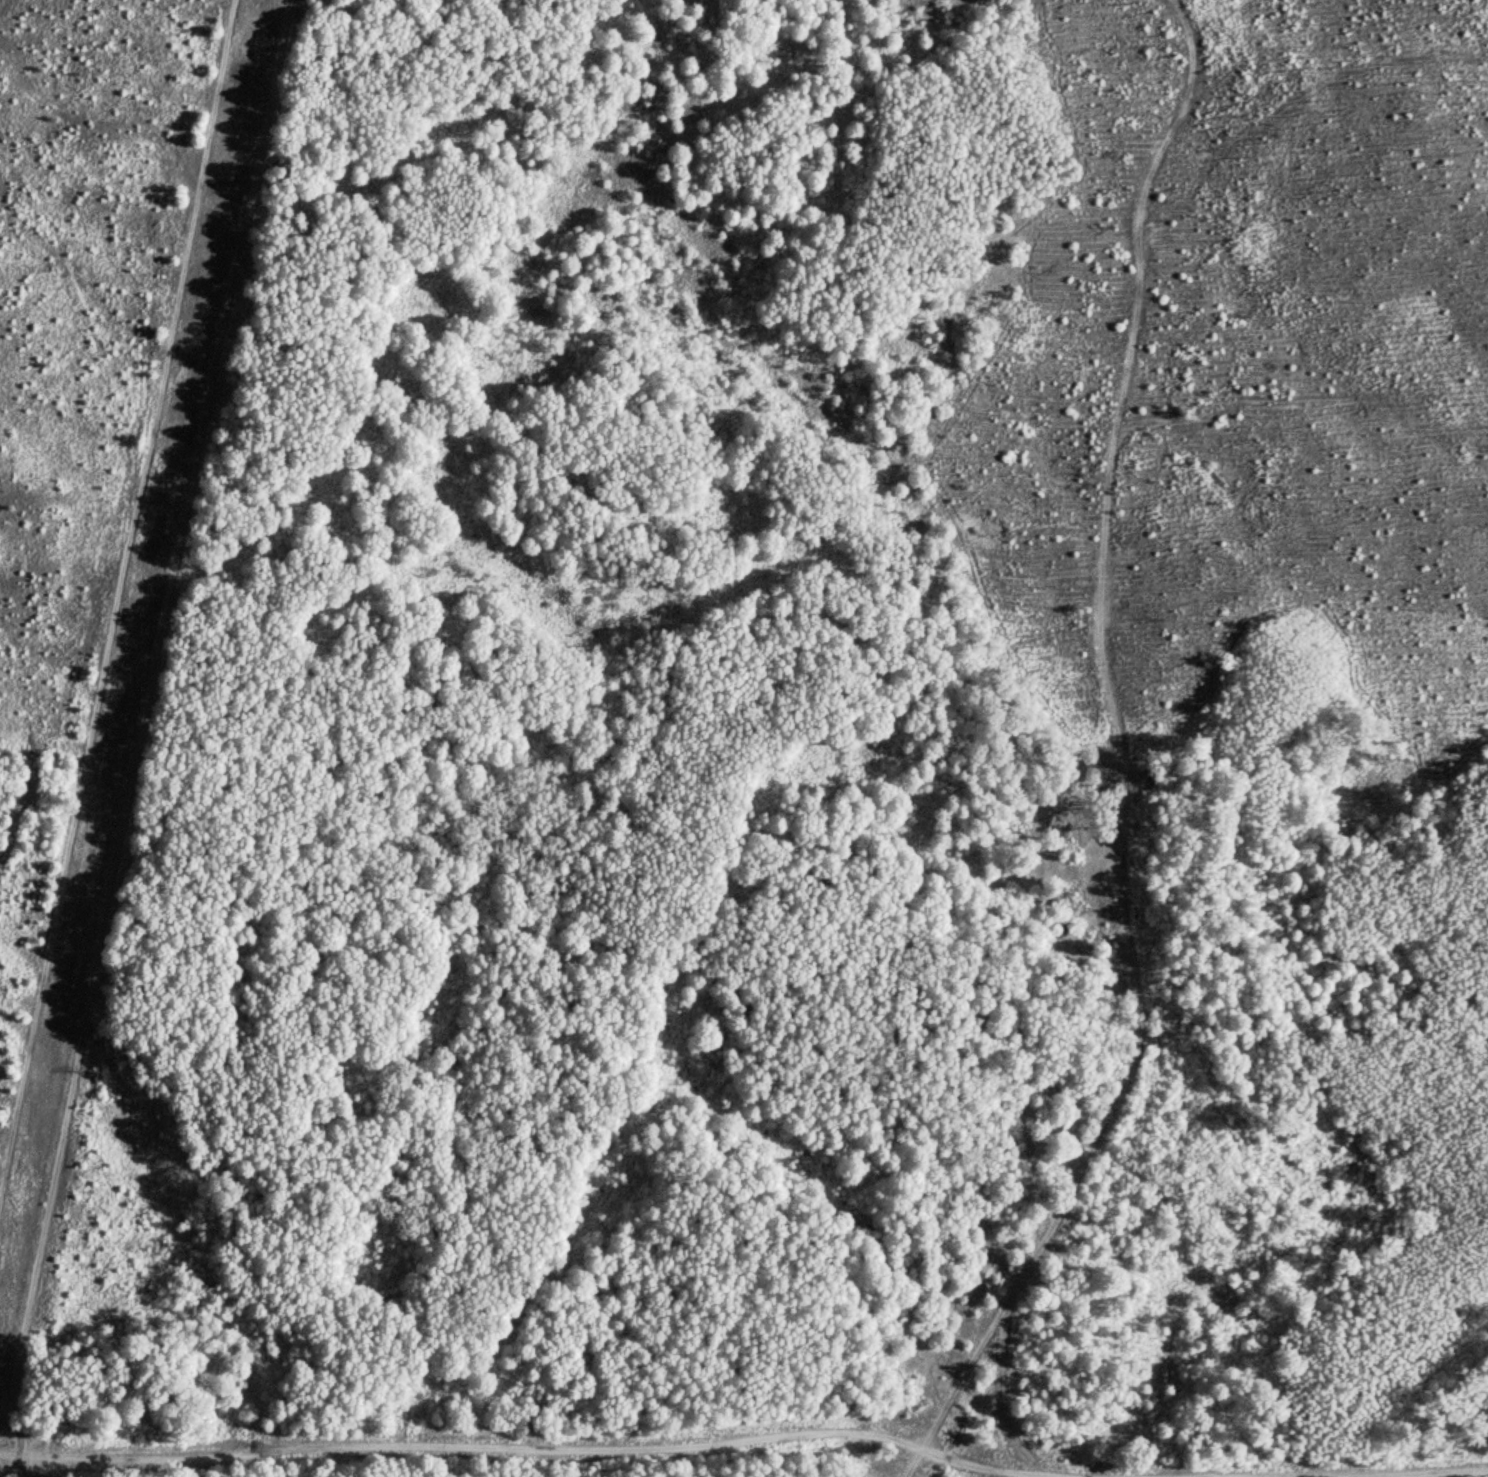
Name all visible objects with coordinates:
road: (143, 717)
road: (1106, 720)
road: (921, 1447)
road: (532, 1448)

